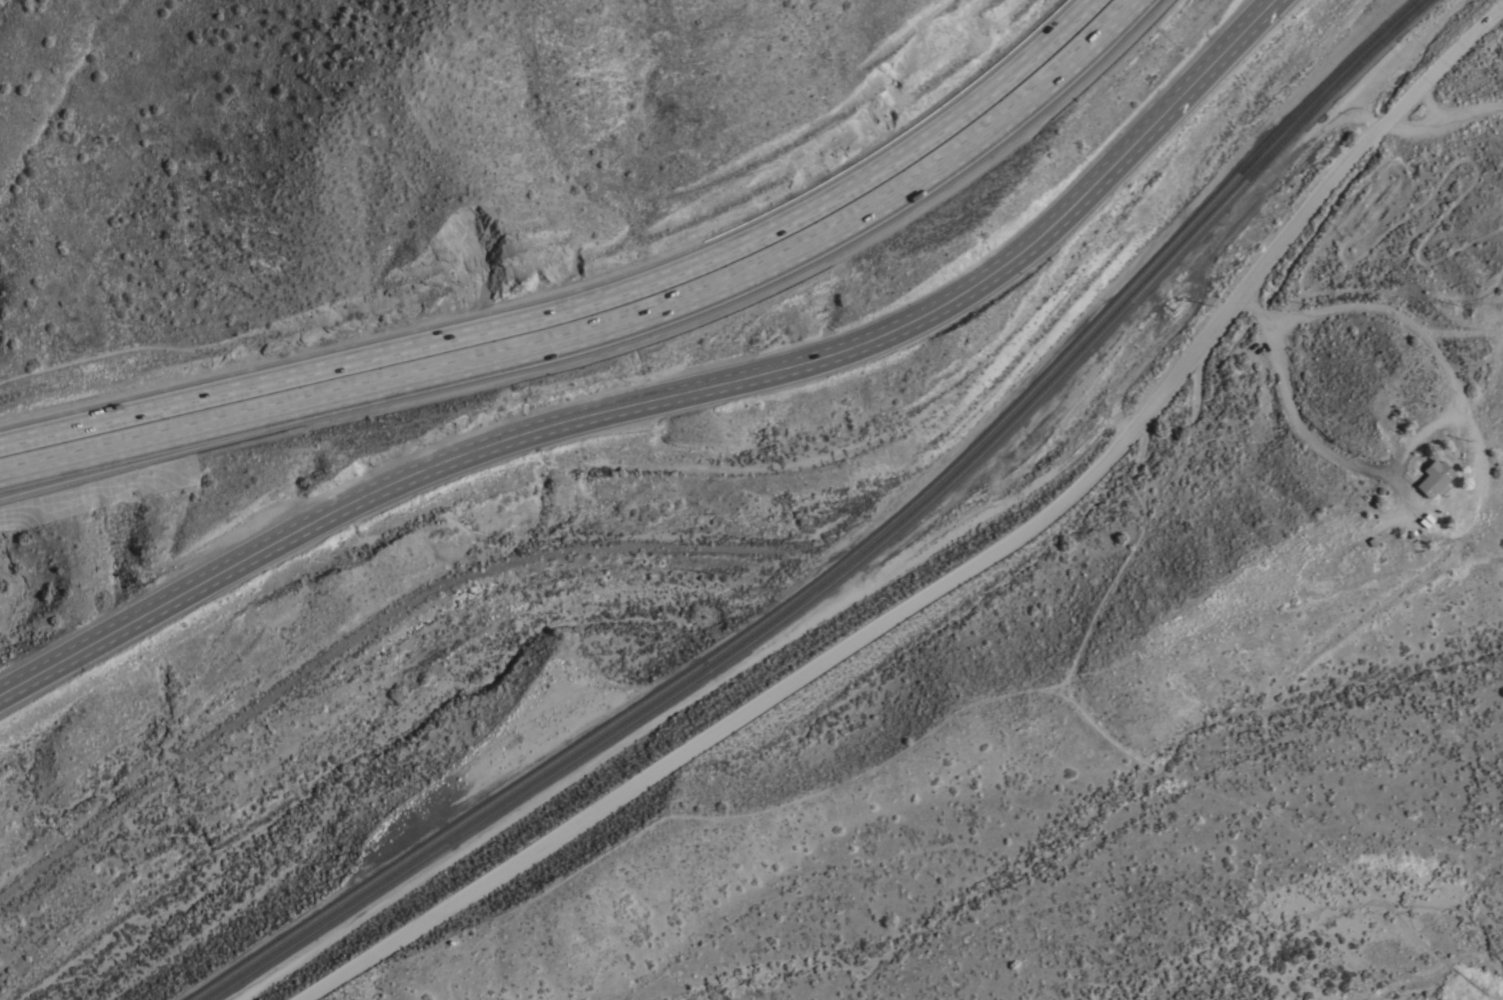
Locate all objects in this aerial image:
road: (1443, 127)
road: (588, 306)
road: (617, 336)
road: (662, 383)
road: (1290, 409)
building: (1436, 478)
railway: (862, 556)
railway: (847, 557)
road: (962, 572)

